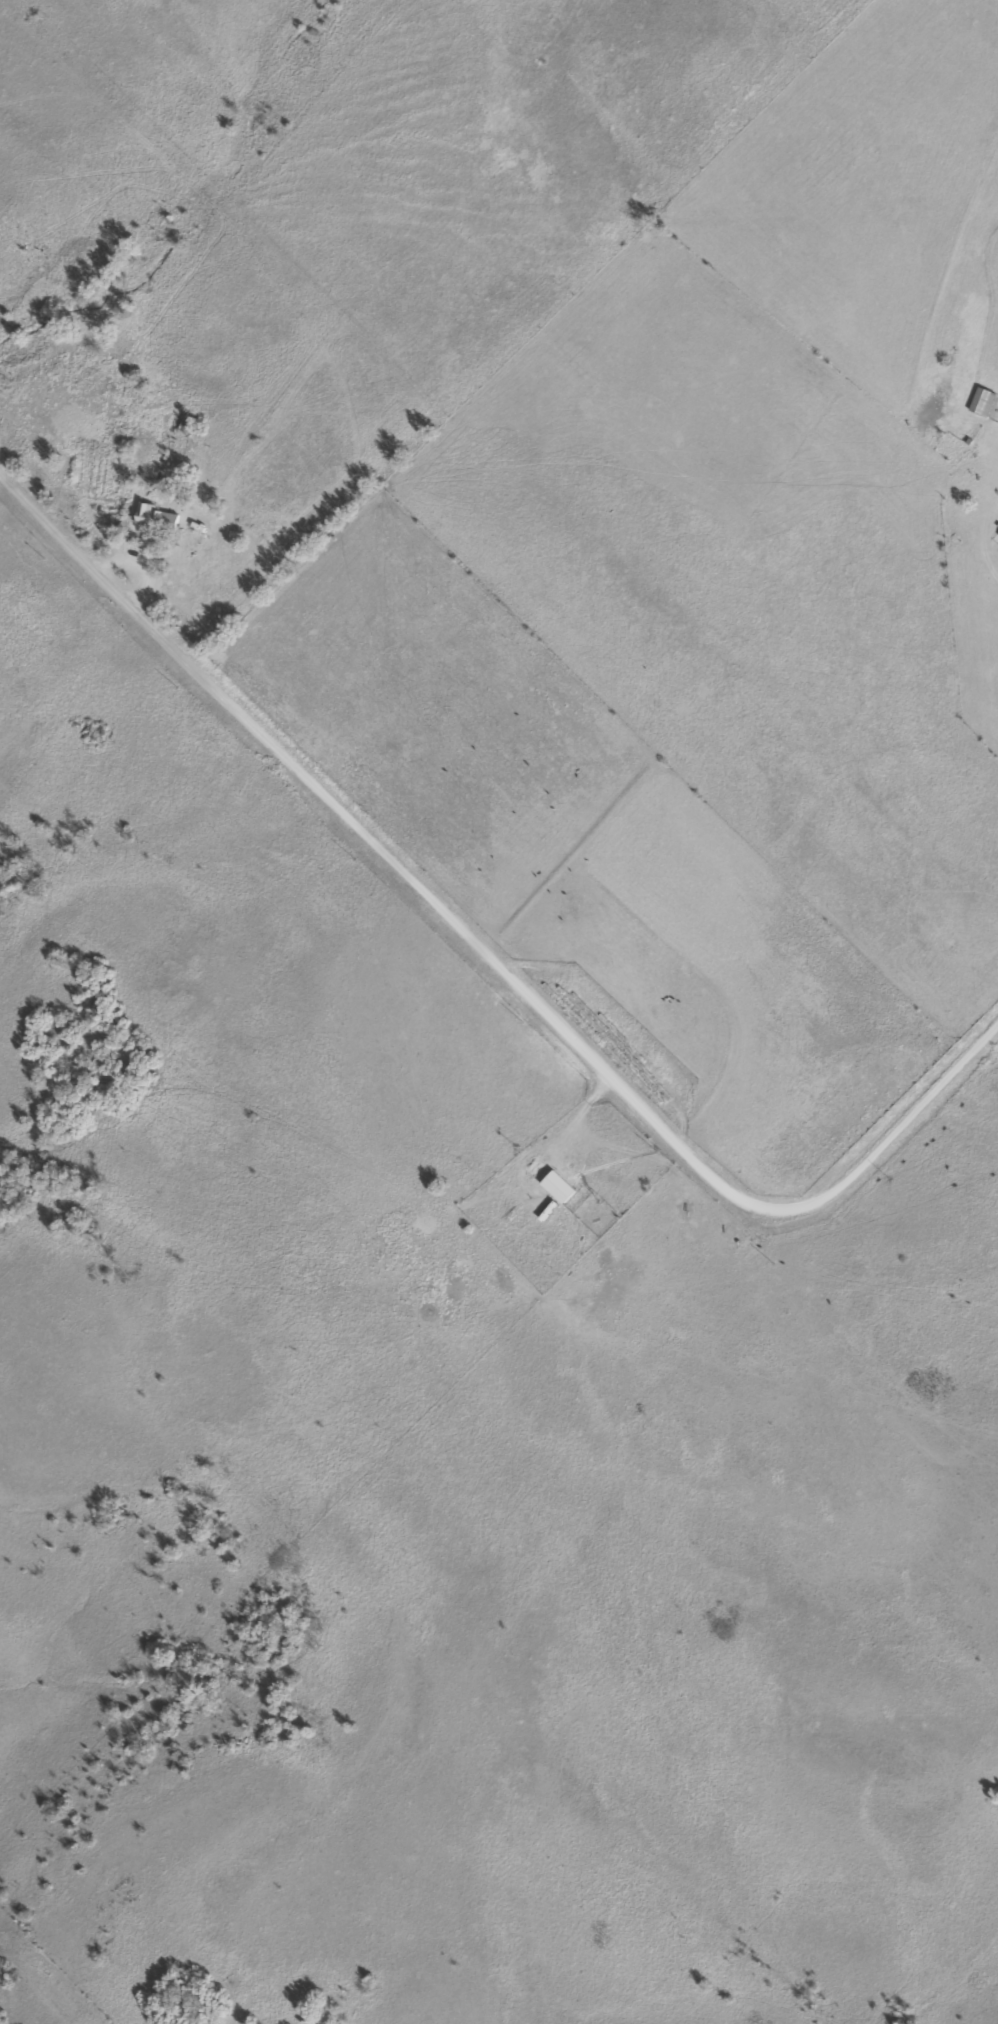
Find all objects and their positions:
building: (978, 403)
building: (158, 518)
building: (996, 539)
road: (994, 551)
road: (491, 937)
building: (573, 1191)

